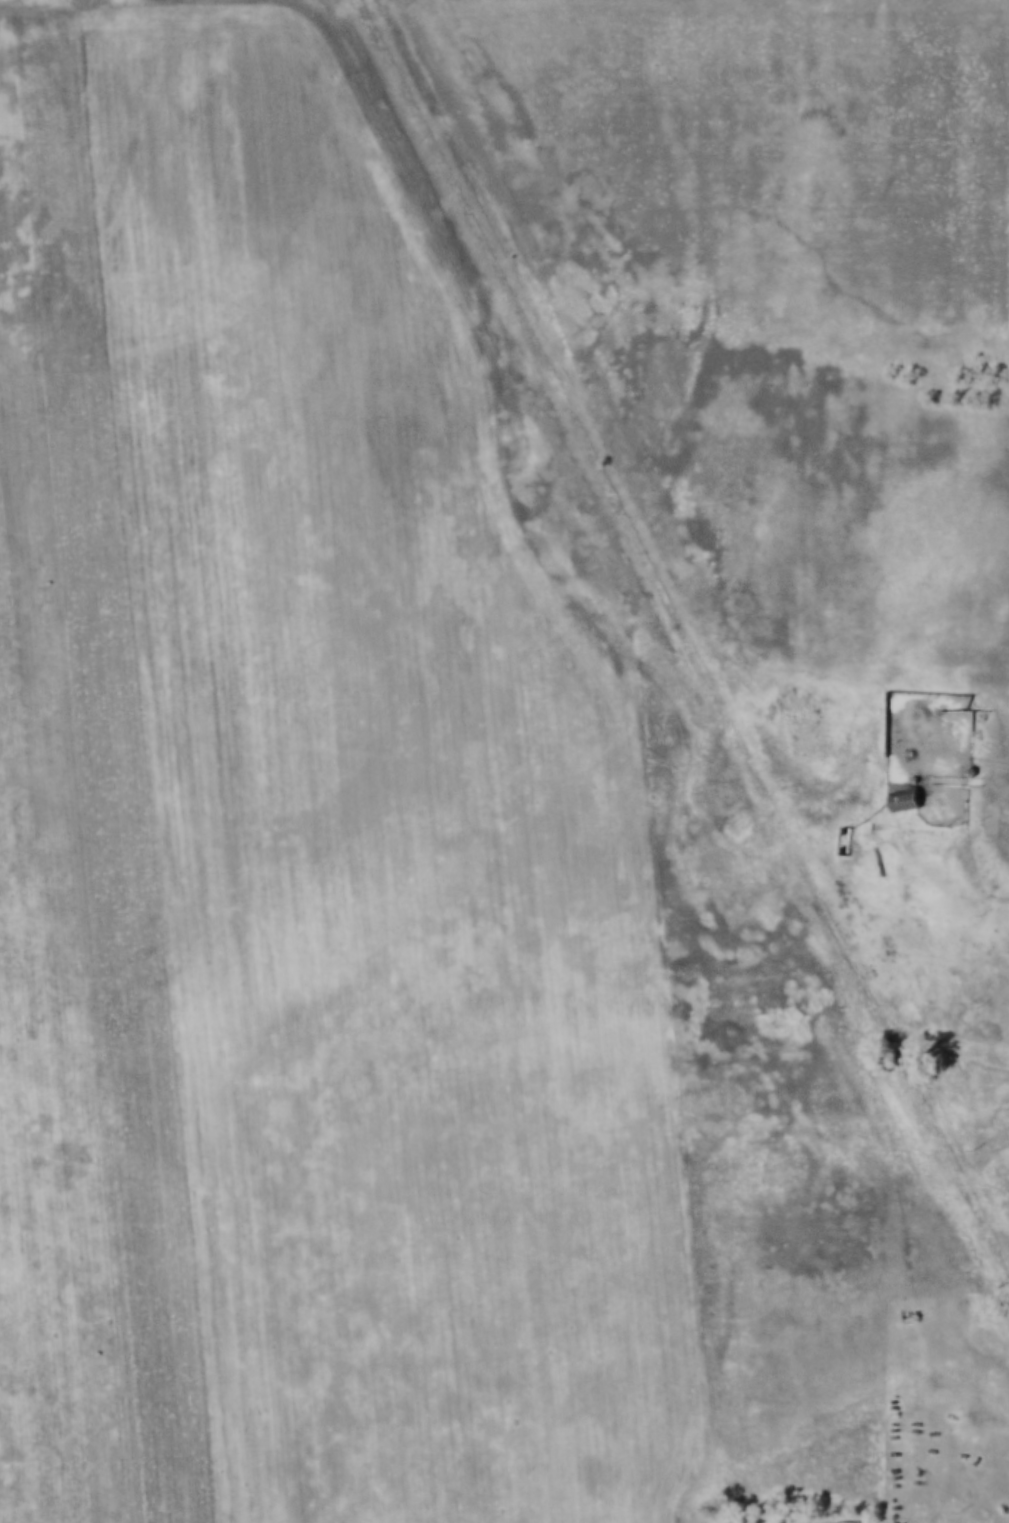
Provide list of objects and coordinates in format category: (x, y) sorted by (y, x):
building: (971, 767)
silo: (971, 767)
road: (982, 778)
building: (902, 789)
building: (841, 834)
building: (868, 970)

